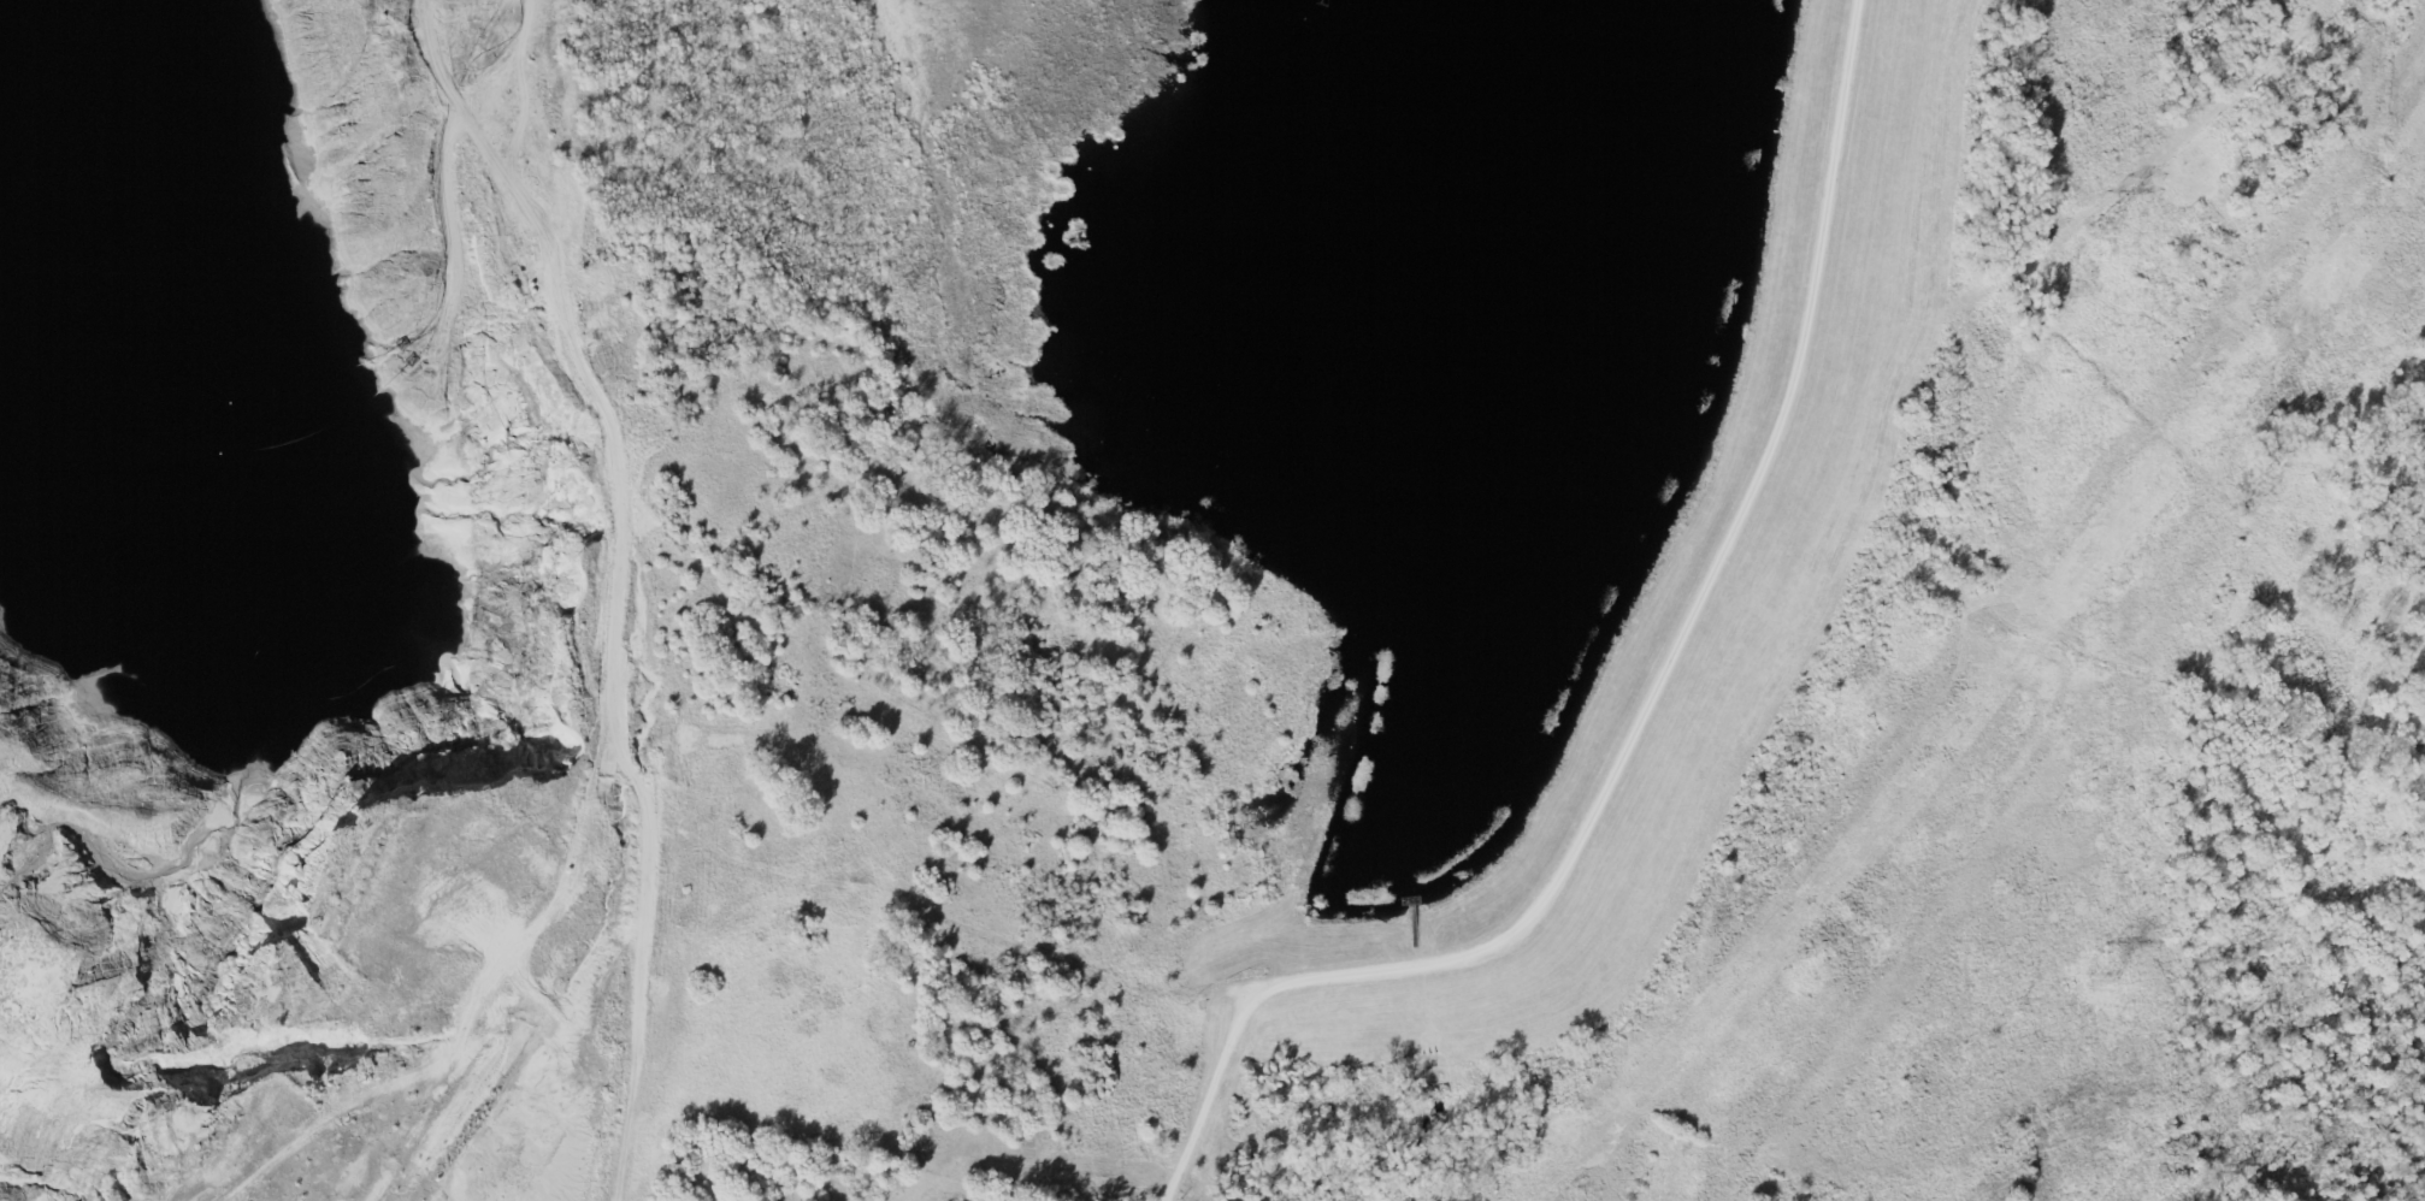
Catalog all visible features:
power tower: (2107, 236)
quarry: (284, 621)
power tower: (2107, 984)

